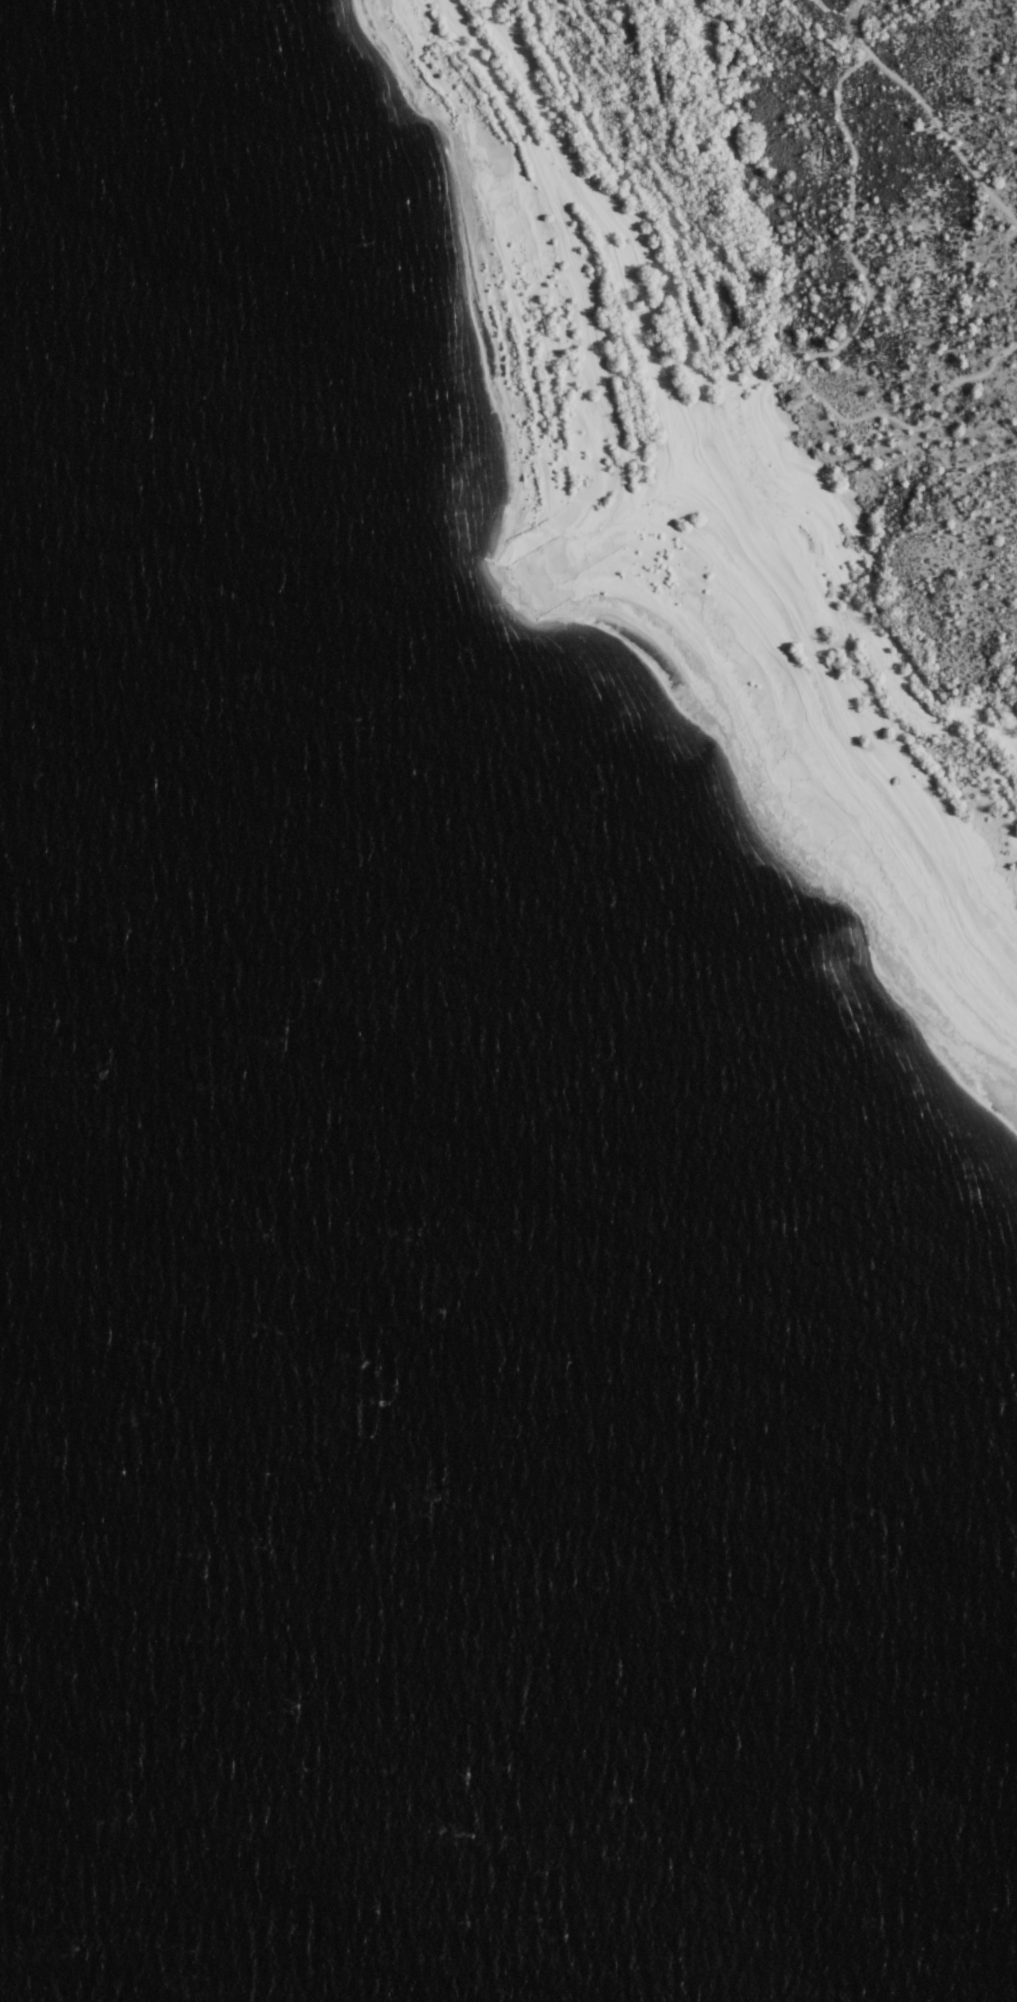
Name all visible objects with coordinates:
road: (931, 488)
road: (970, 618)

